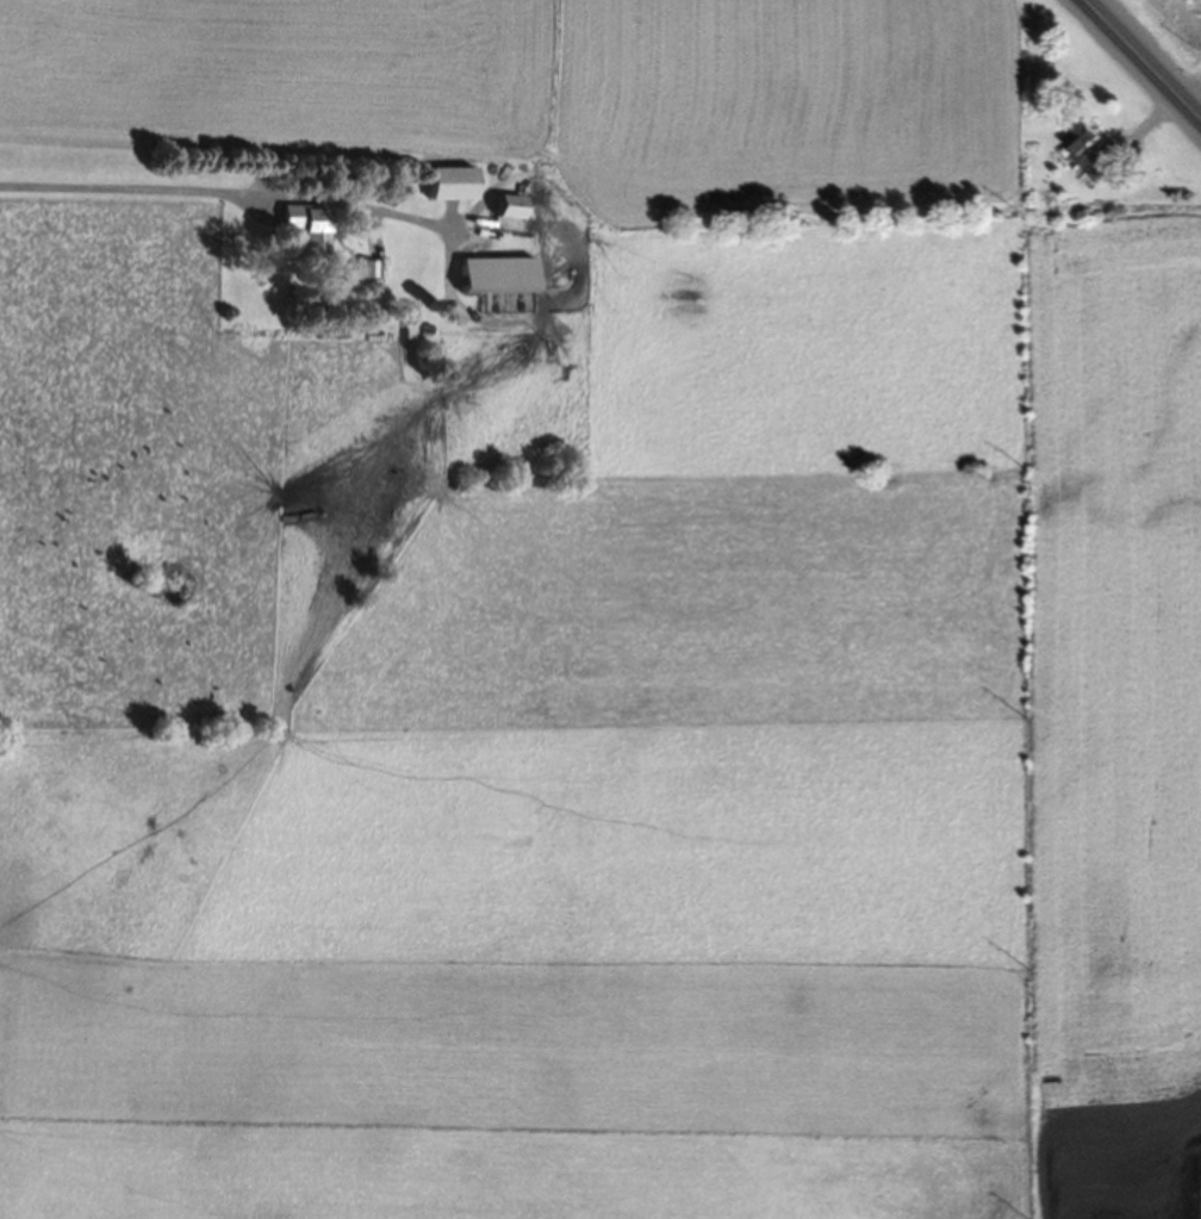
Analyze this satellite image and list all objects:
road: (1144, 58)
building: (1090, 156)
road: (226, 185)
building: (450, 188)
building: (510, 211)
building: (305, 230)
building: (361, 274)
building: (498, 279)

